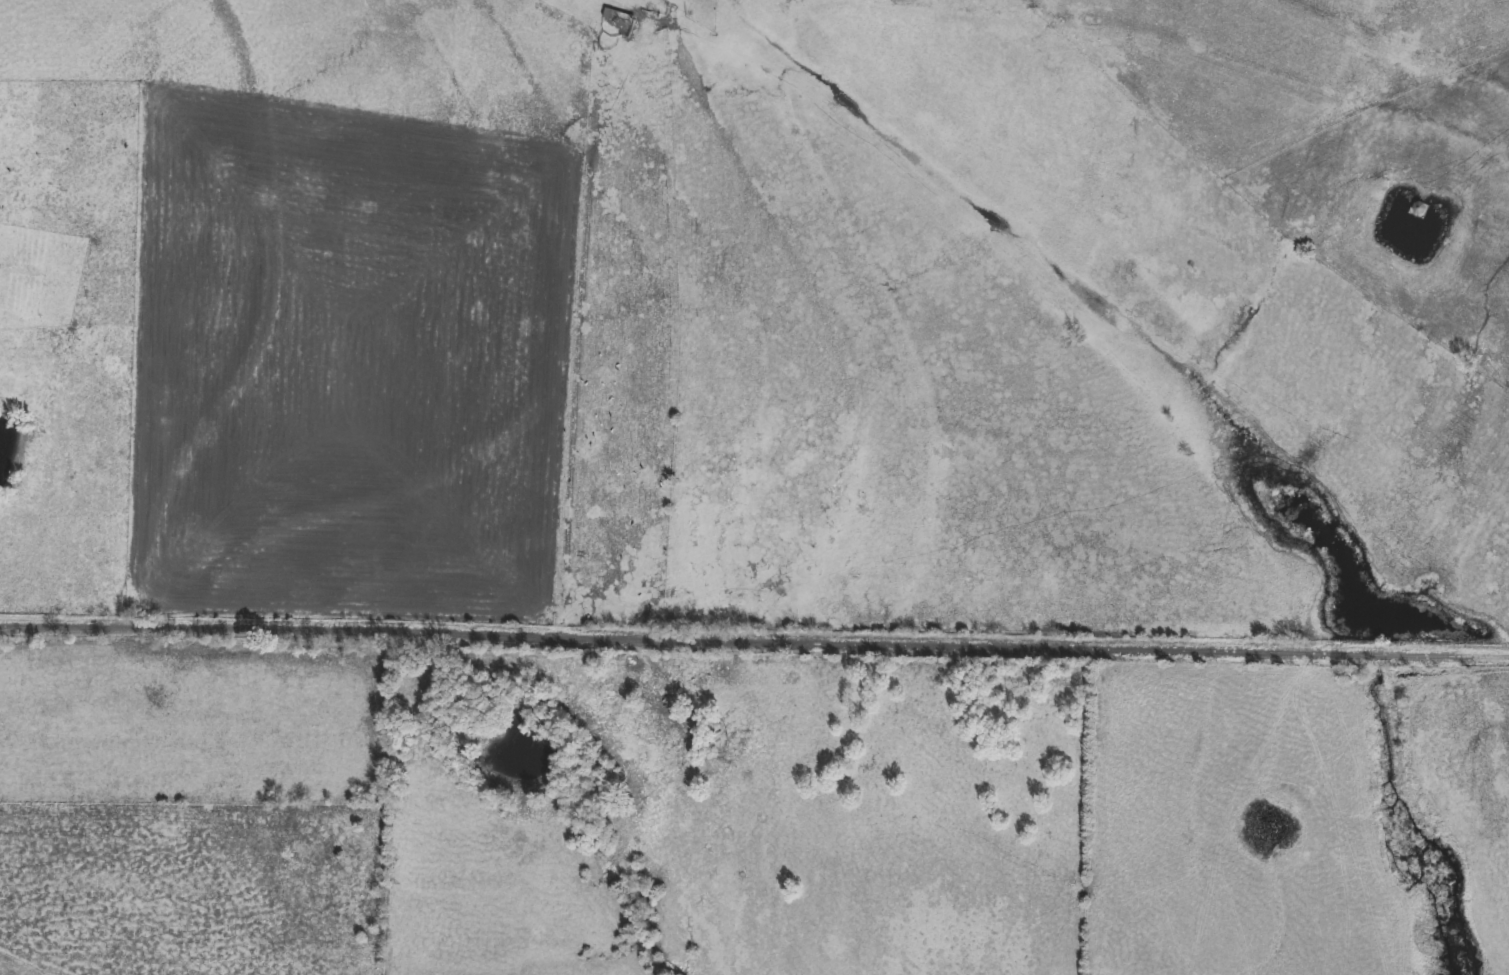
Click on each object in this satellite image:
building: (620, 17)
building: (1420, 209)
road: (760, 463)
road: (754, 637)

